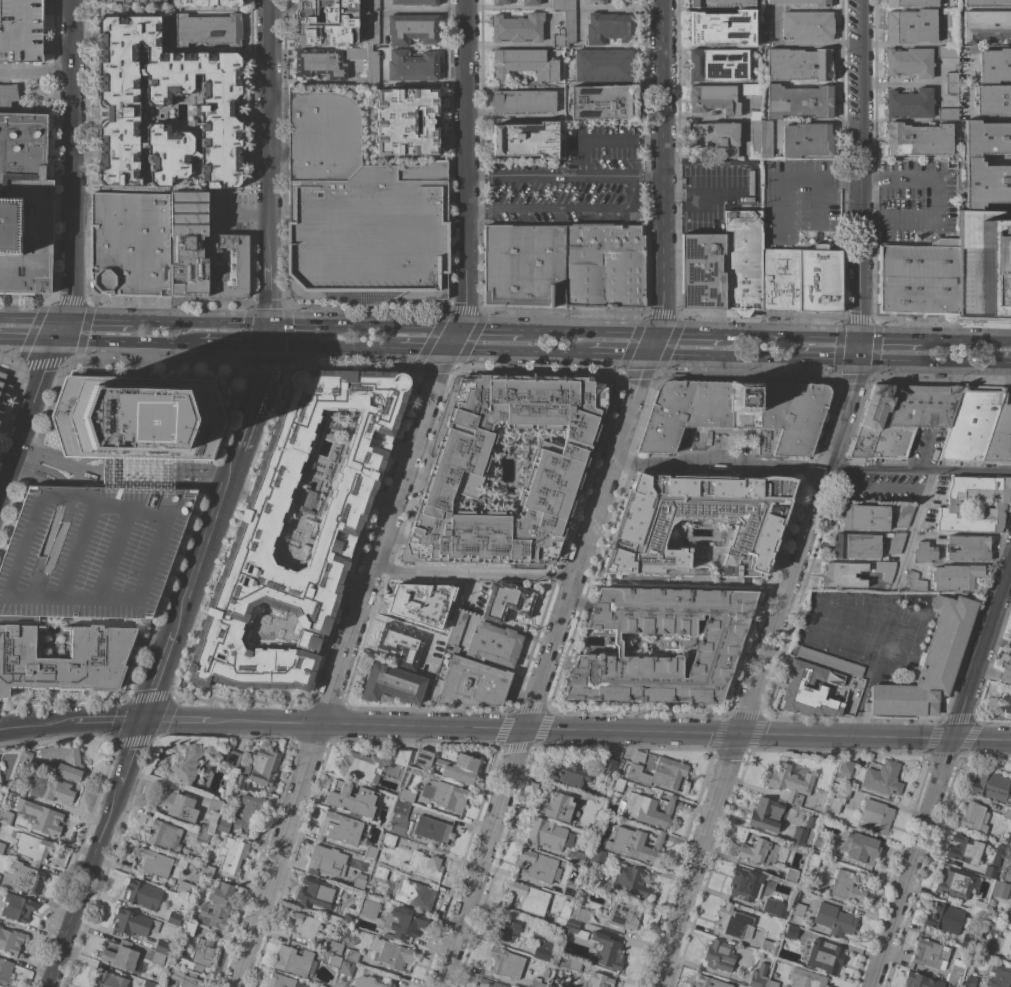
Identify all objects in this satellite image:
building: (153, 0)
building: (163, 0)
building: (627, 0)
building: (107, 2)
building: (414, 2)
building: (500, 2)
building: (530, 2)
building: (594, 2)
building: (802, 2)
building: (210, 3)
building: (724, 3)
building: (911, 3)
building: (987, 3)
road: (580, 4)
building: (373, 5)
building: (563, 5)
road: (606, 8)
building: (328, 22)
building: (807, 26)
building: (911, 26)
building: (986, 26)
building: (518, 27)
building: (952, 27)
building: (372, 28)
building: (610, 28)
building: (723, 28)
building: (208, 29)
building: (412, 29)
building: (21, 31)
parking garage: (21, 31)
building: (565, 31)
road: (801, 44)
building: (948, 51)
building: (910, 62)
building: (320, 63)
building: (525, 64)
building: (718, 64)
building: (412, 65)
building: (604, 65)
building: (799, 65)
building: (995, 65)
building: (373, 66)
road: (35, 74)
building: (952, 83)
road: (859, 88)
building: (751, 89)
building: (714, 99)
building: (994, 100)
building: (524, 101)
building: (799, 101)
building: (222, 102)
building: (603, 102)
building: (911, 103)
building: (948, 114)
building: (407, 122)
building: (760, 136)
building: (716, 137)
building: (986, 138)
building: (526, 139)
building: (919, 139)
building: (807, 140)
road: (603, 141)
road: (562, 176)
road: (812, 176)
road: (852, 178)
road: (869, 178)
road: (909, 178)
building: (986, 183)
road: (701, 194)
building: (24, 199)
road: (816, 200)
road: (939, 201)
road: (779, 207)
road: (563, 208)
road: (247, 210)
building: (359, 212)
road: (831, 223)
road: (863, 223)
road: (909, 223)
building: (163, 248)
road: (69, 251)
road: (859, 258)
building: (743, 261)
building: (984, 263)
building: (524, 265)
building: (604, 265)
building: (703, 271)
building: (918, 278)
building: (780, 280)
building: (820, 280)
road: (27, 300)
building: (139, 301)
road: (34, 319)
traffic signals: (69, 320)
road: (105, 321)
road: (206, 323)
traffic signals: (272, 324)
road: (303, 325)
road: (397, 327)
traffic signals: (459, 329)
road: (490, 329)
road: (590, 331)
traffic signals: (658, 333)
road: (690, 334)
road: (791, 337)
traffic signals: (859, 339)
road: (890, 340)
traffic signals: (56, 341)
road: (97, 341)
road: (966, 341)
road: (233, 343)
traffic signals: (271, 344)
road: (330, 345)
road: (415, 348)
traffic signals: (441, 349)
road: (513, 351)
road: (617, 355)
traffic signals: (650, 356)
road: (724, 358)
road: (827, 360)
traffic signals: (857, 361)
road: (927, 363)
road: (1004, 365)
road: (266, 370)
building: (3, 392)
building: (736, 413)
building: (138, 418)
building: (900, 418)
building: (972, 423)
helipad: (140, 427)
building: (1001, 432)
road: (924, 452)
road: (813, 467)
road: (54, 468)
building: (559, 468)
building: (138, 473)
road: (396, 499)
road: (603, 502)
building: (998, 504)
building: (904, 515)
road: (918, 515)
building: (865, 517)
building: (696, 525)
building: (256, 532)
building: (896, 543)
building: (856, 546)
building: (968, 548)
building: (91, 552)
parking garage: (91, 552)
building: (925, 552)
building: (885, 570)
road: (477, 575)
building: (843, 575)
building: (956, 577)
building: (914, 582)
building: (508, 600)
building: (457, 630)
building: (401, 644)
building: (440, 644)
building: (494, 644)
building: (716, 649)
building: (64, 659)
building: (827, 660)
building: (792, 661)
road: (756, 662)
building: (929, 664)
building: (1006, 666)
building: (428, 670)
building: (392, 684)
building: (472, 684)
building: (848, 694)
building: (808, 697)
building: (1005, 701)
road: (505, 732)
road: (134, 749)
building: (402, 757)
building: (26, 758)
building: (423, 758)
building: (233, 759)
building: (65, 760)
building: (193, 762)
building: (609, 765)
building: (265, 766)
building: (361, 766)
building: (459, 768)
building: (845, 769)
building: (660, 772)
building: (399, 774)
building: (570, 774)
building: (242, 775)
building: (0, 778)
building: (883, 778)
road: (941, 778)
building: (788, 782)
building: (618, 784)
building: (991, 786)
building: (15, 787)
building: (48, 787)
building: (349, 794)
building: (406, 795)
building: (445, 795)
building: (839, 799)
building: (177, 805)
building: (215, 805)
building: (556, 807)
building: (646, 809)
building: (1007, 812)
building: (248, 814)
building: (766, 814)
building: (6, 816)
building: (877, 816)
building: (42, 817)
building: (973, 817)
building: (418, 825)
building: (222, 826)
building: (340, 828)
building: (803, 831)
building: (0, 835)
building: (548, 835)
building: (166, 836)
building: (202, 836)
building: (387, 839)
building: (818, 840)
building: (634, 844)
building: (2, 848)
building: (33, 848)
building: (862, 848)
building: (965, 850)
building: (758, 851)
building: (371, 852)
building: (232, 855)
building: (596, 855)
building: (578, 857)
building: (327, 861)
building: (154, 863)
building: (994, 863)
building: (423, 865)
building: (812, 866)
building: (1006, 866)
building: (537, 867)
building: (208, 869)
building: (381, 872)
building: (791, 875)
building: (27, 878)
building: (630, 881)
building: (359, 882)
road: (87, 883)
building: (745, 883)
building: (955, 883)
building: (849, 886)
building: (186, 888)
building: (1000, 889)
building: (568, 890)
building: (143, 894)
building: (317, 894)
building: (419, 894)
building: (527, 899)
building: (978, 906)
building: (217, 907)
building: (16, 908)
building: (777, 908)
building: (369, 909)
building: (798, 909)
building: (579, 914)
building: (1009, 914)
building: (562, 915)
building: (624, 915)
building: (349, 916)
building: (174, 918)
building: (944, 918)
building: (834, 919)
building: (734, 922)
building: (134, 923)
building: (403, 923)
building: (303, 925)
building: (187, 927)
building: (509, 928)
building: (576, 928)
building: (790, 931)
building: (10, 941)
building: (968, 942)
building: (1004, 943)
building: (981, 945)
building: (162, 946)
building: (767, 946)
building: (333, 947)
building: (545, 951)
building: (606, 952)
building: (391, 953)
building: (930, 954)
building: (201, 955)
building: (352, 955)
building: (719, 955)
building: (121, 956)
building: (825, 956)
building: (157, 958)
building: (334, 960)
building: (295, 961)
building: (503, 963)
building: (568, 963)
building: (959, 964)
building: (346, 969)
building: (5, 971)
building: (546, 973)
building: (955, 975)
building: (758, 976)
building: (999, 976)
building: (185, 978)
building: (807, 978)
building: (108, 980)
building: (279, 980)
building: (601, 980)
building: (372, 981)
building: (921, 981)
building: (709, 982)
building: (972, 982)
building: (489, 983)
building: (537, 983)
building: (770, 983)
building: (149, 984)
building: (949, 986)

